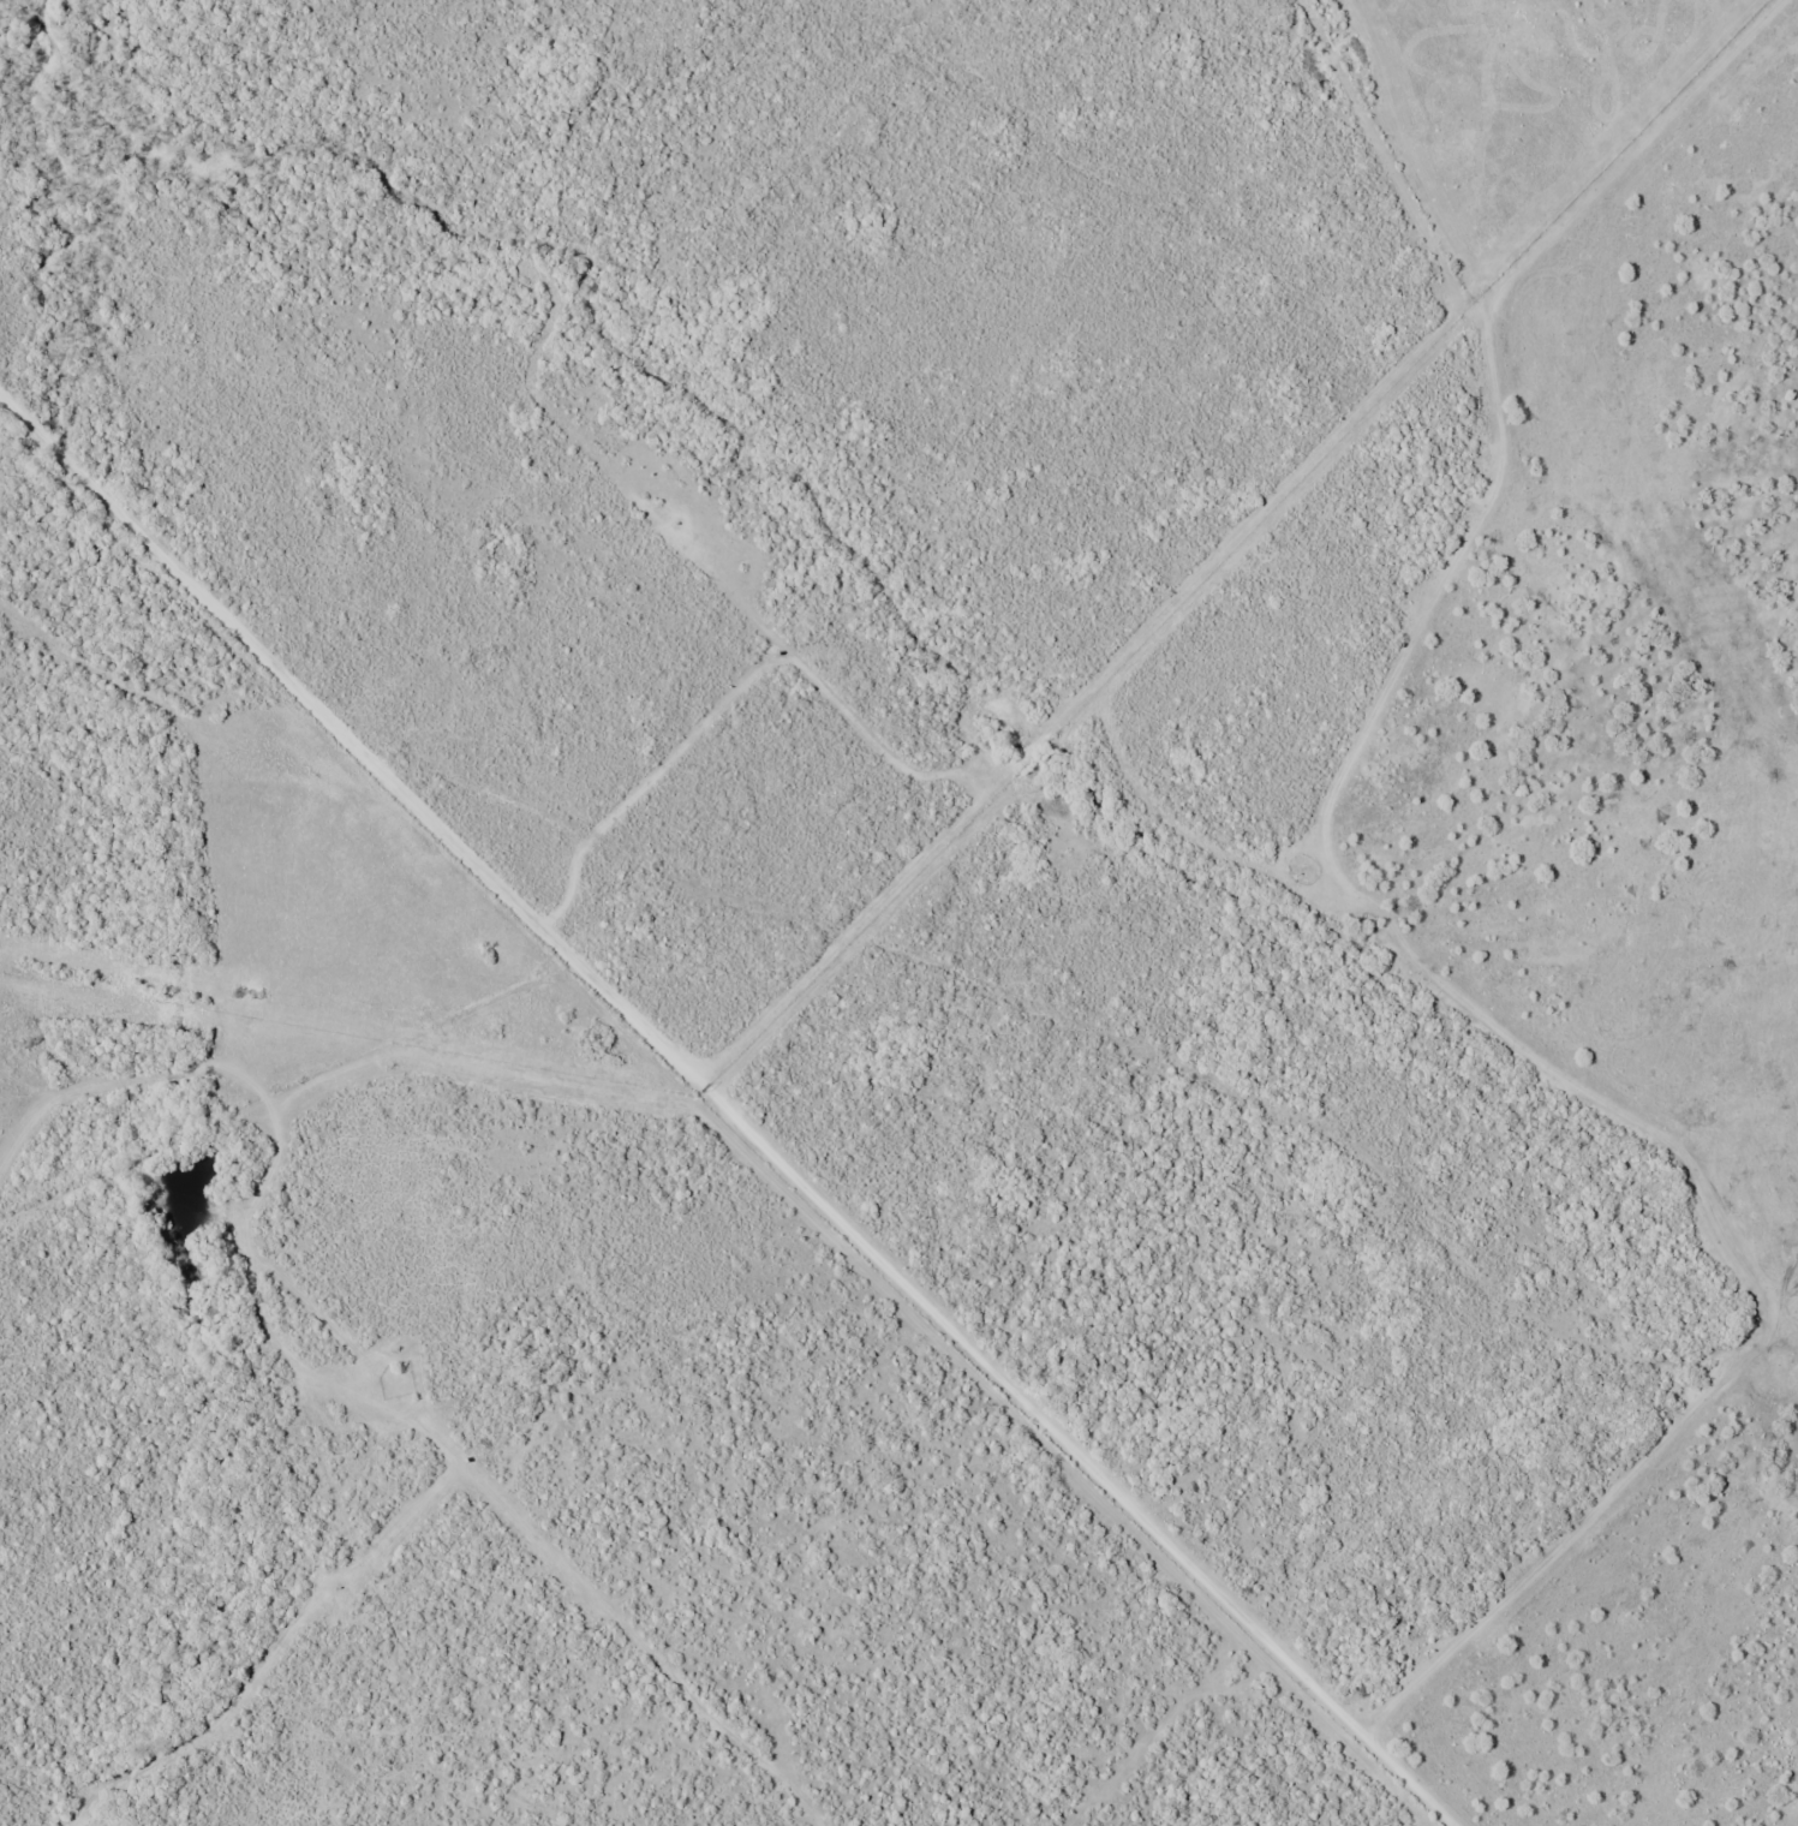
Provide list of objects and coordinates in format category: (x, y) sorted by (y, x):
road: (884, 961)

